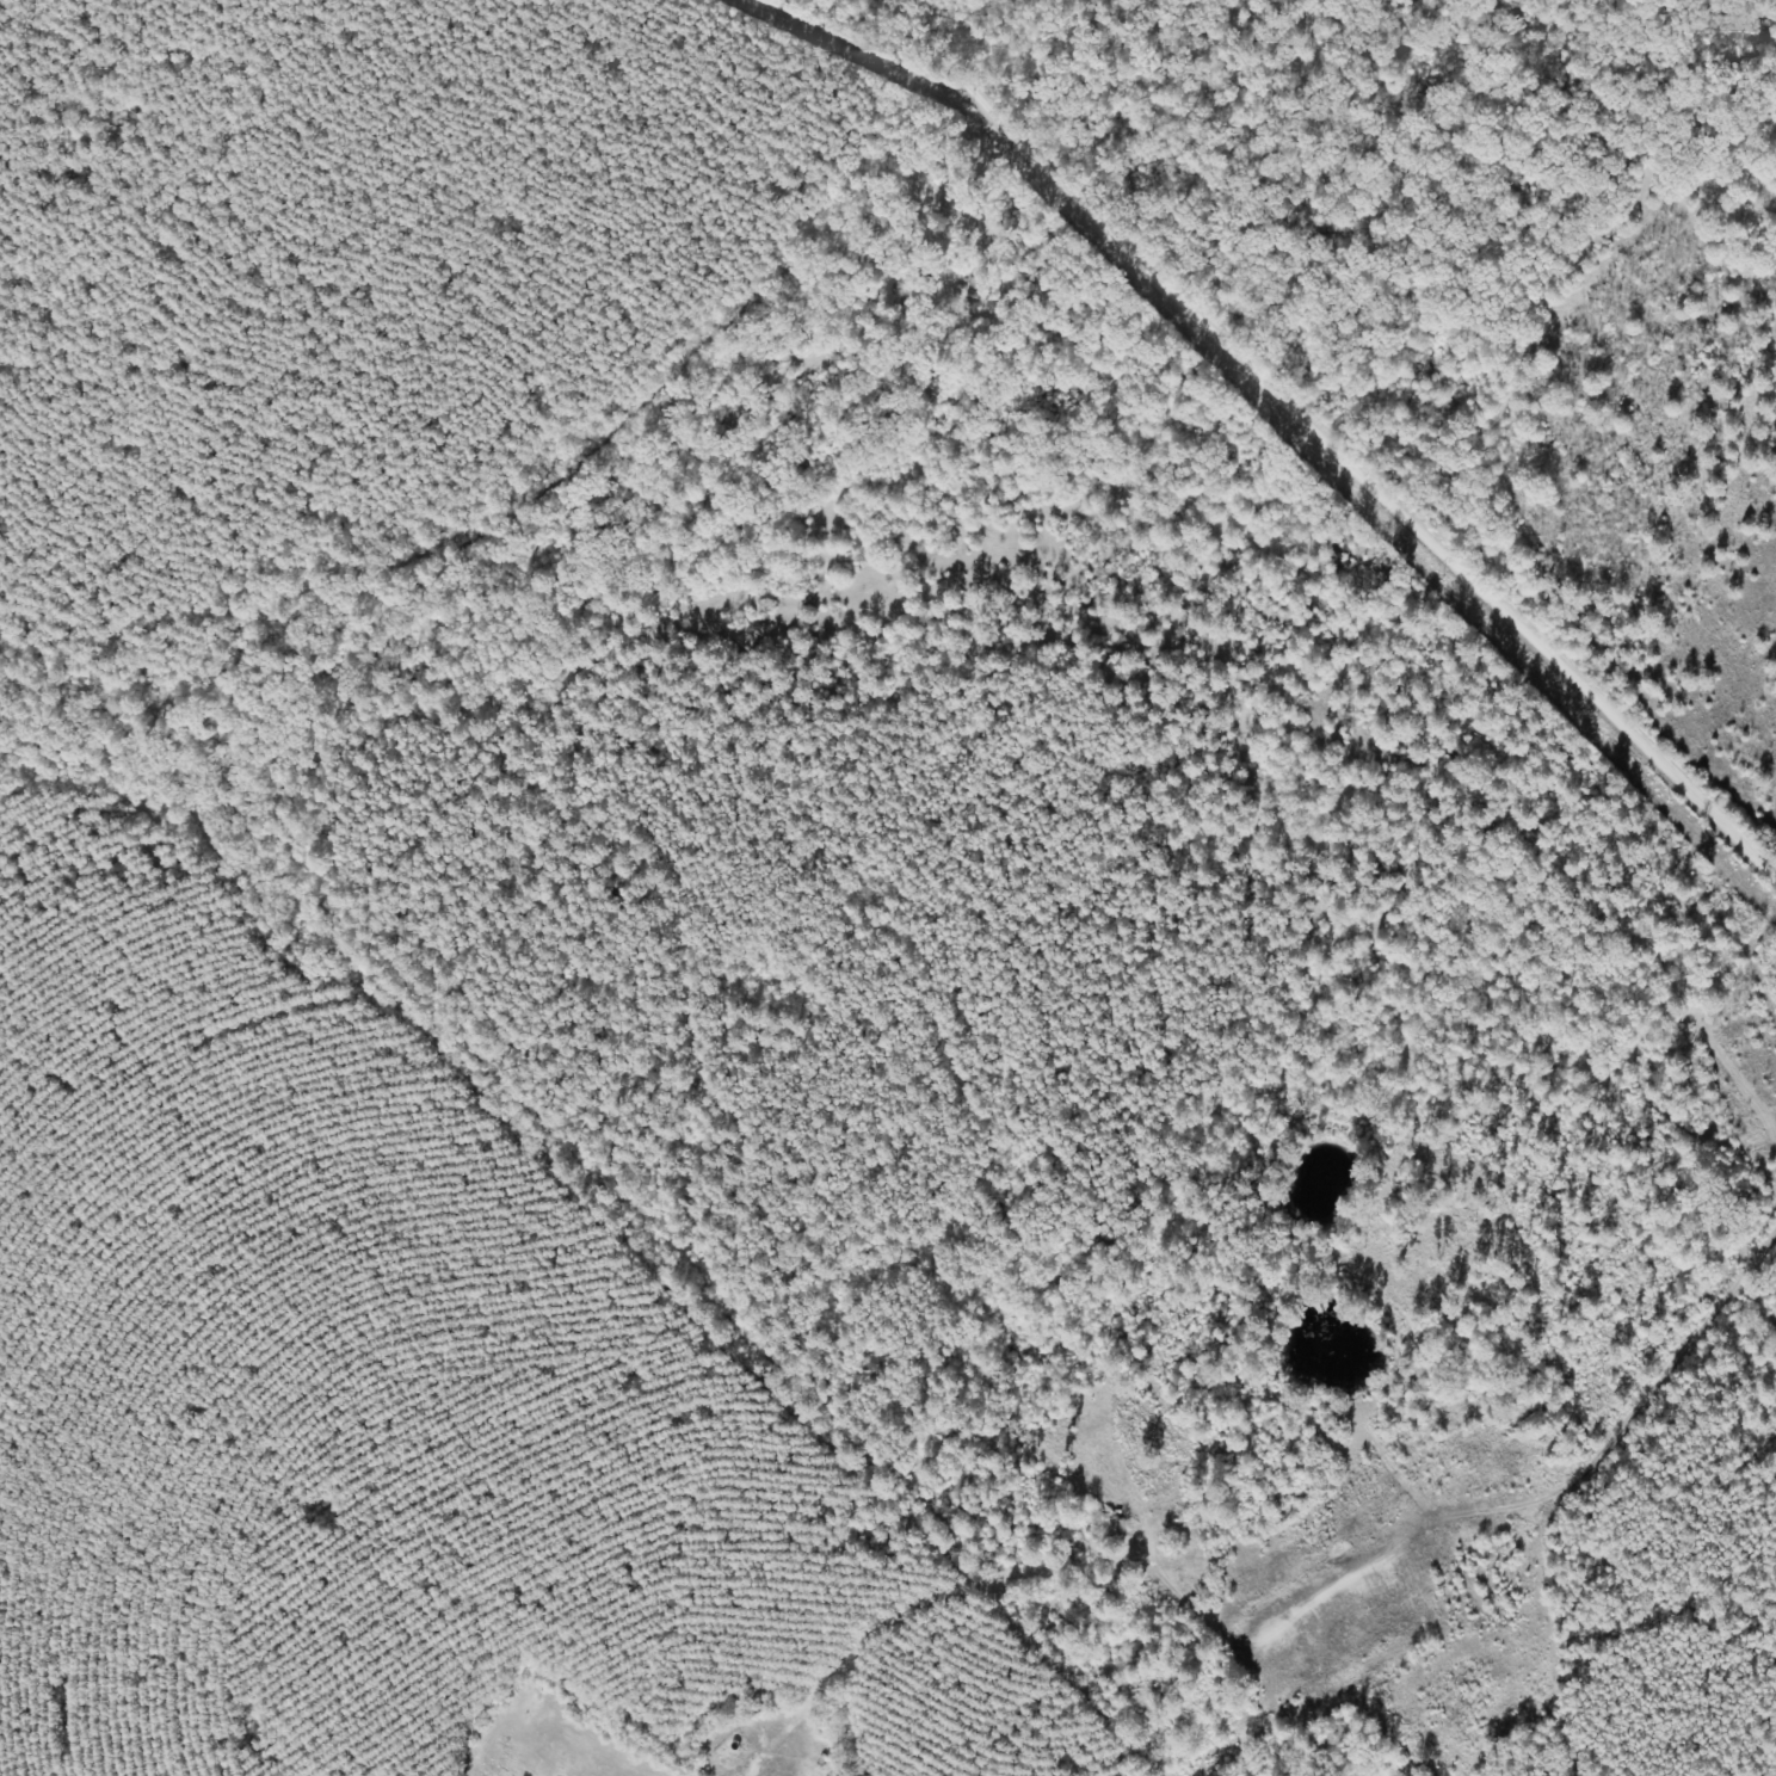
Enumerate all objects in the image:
road: (1320, 452)
road: (1654, 1349)

